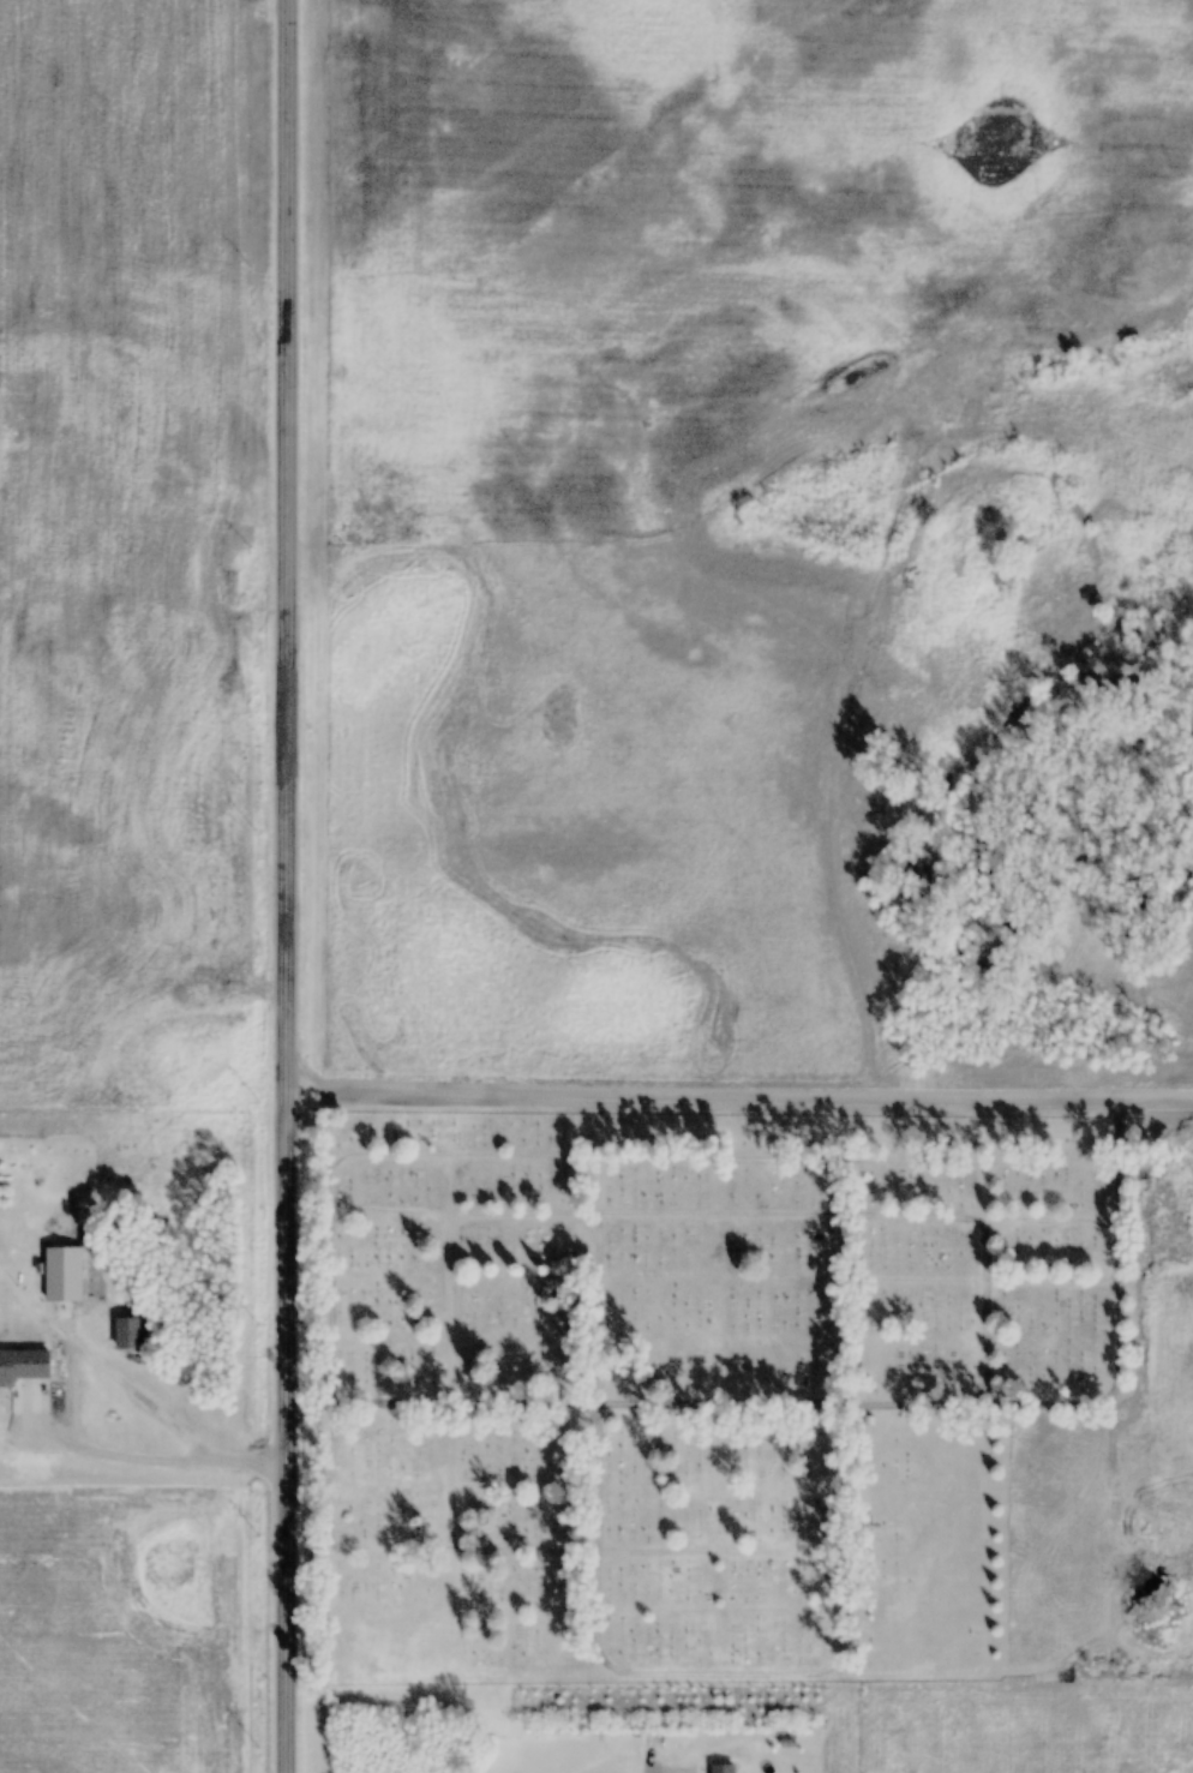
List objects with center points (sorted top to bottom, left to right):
road: (283, 886)
road: (738, 1091)
building: (64, 1274)
building: (24, 1365)
building: (723, 1768)

